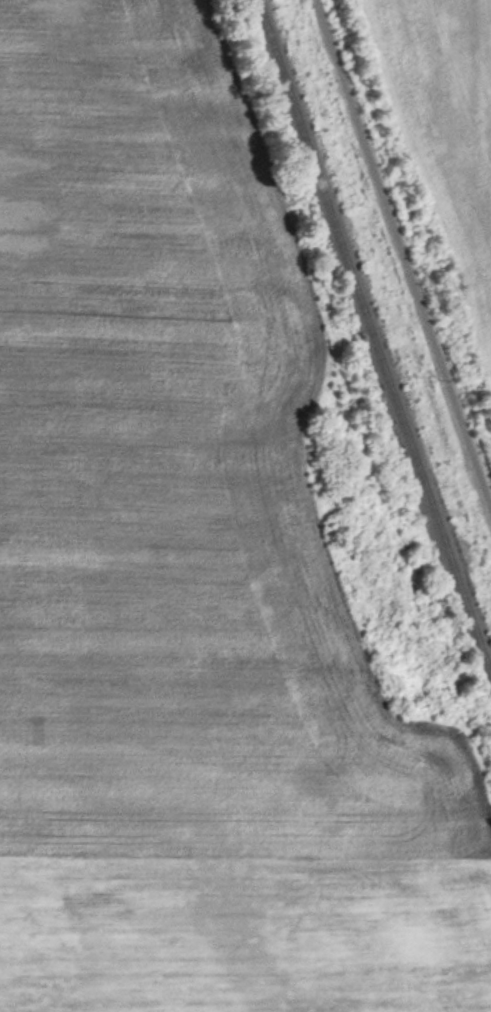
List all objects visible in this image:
road: (401, 258)
railway: (373, 338)

